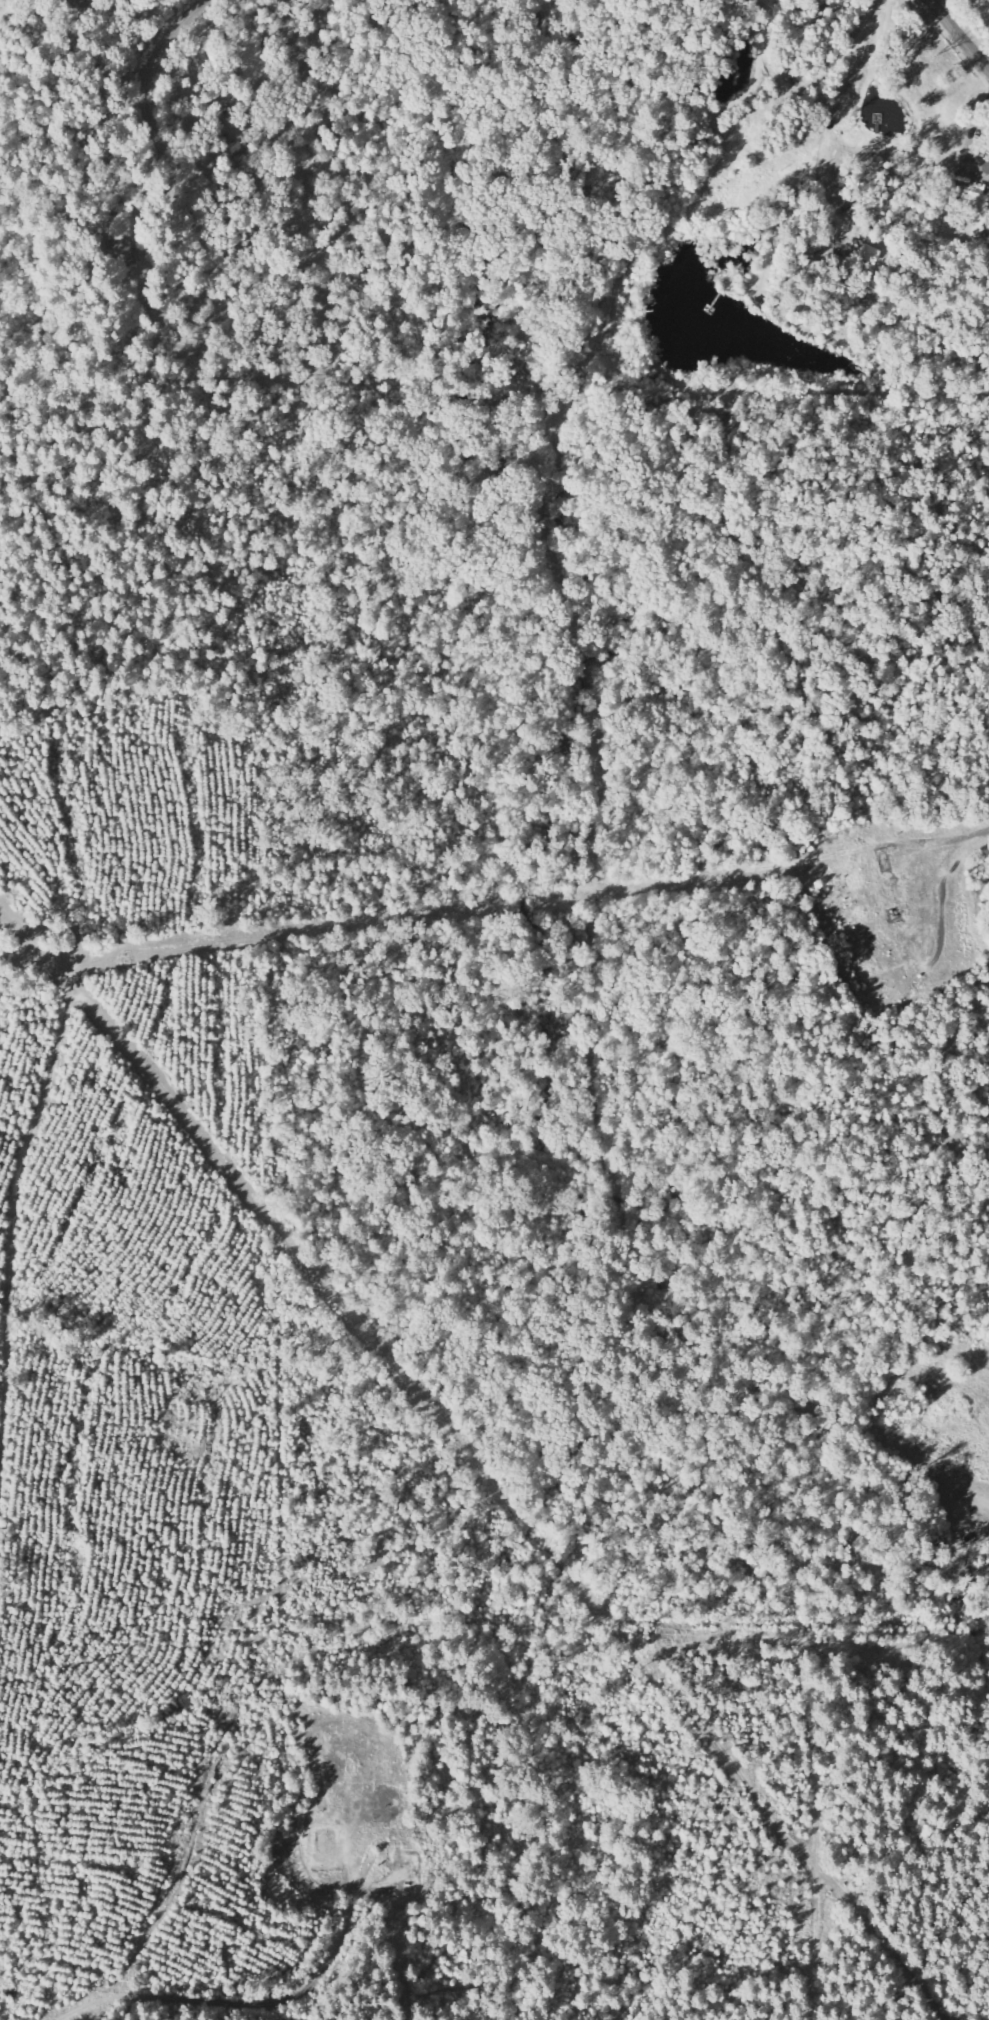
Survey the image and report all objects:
road: (960, 34)
road: (844, 109)
building: (974, 175)
building: (120, 249)
building: (869, 255)
road: (944, 894)

